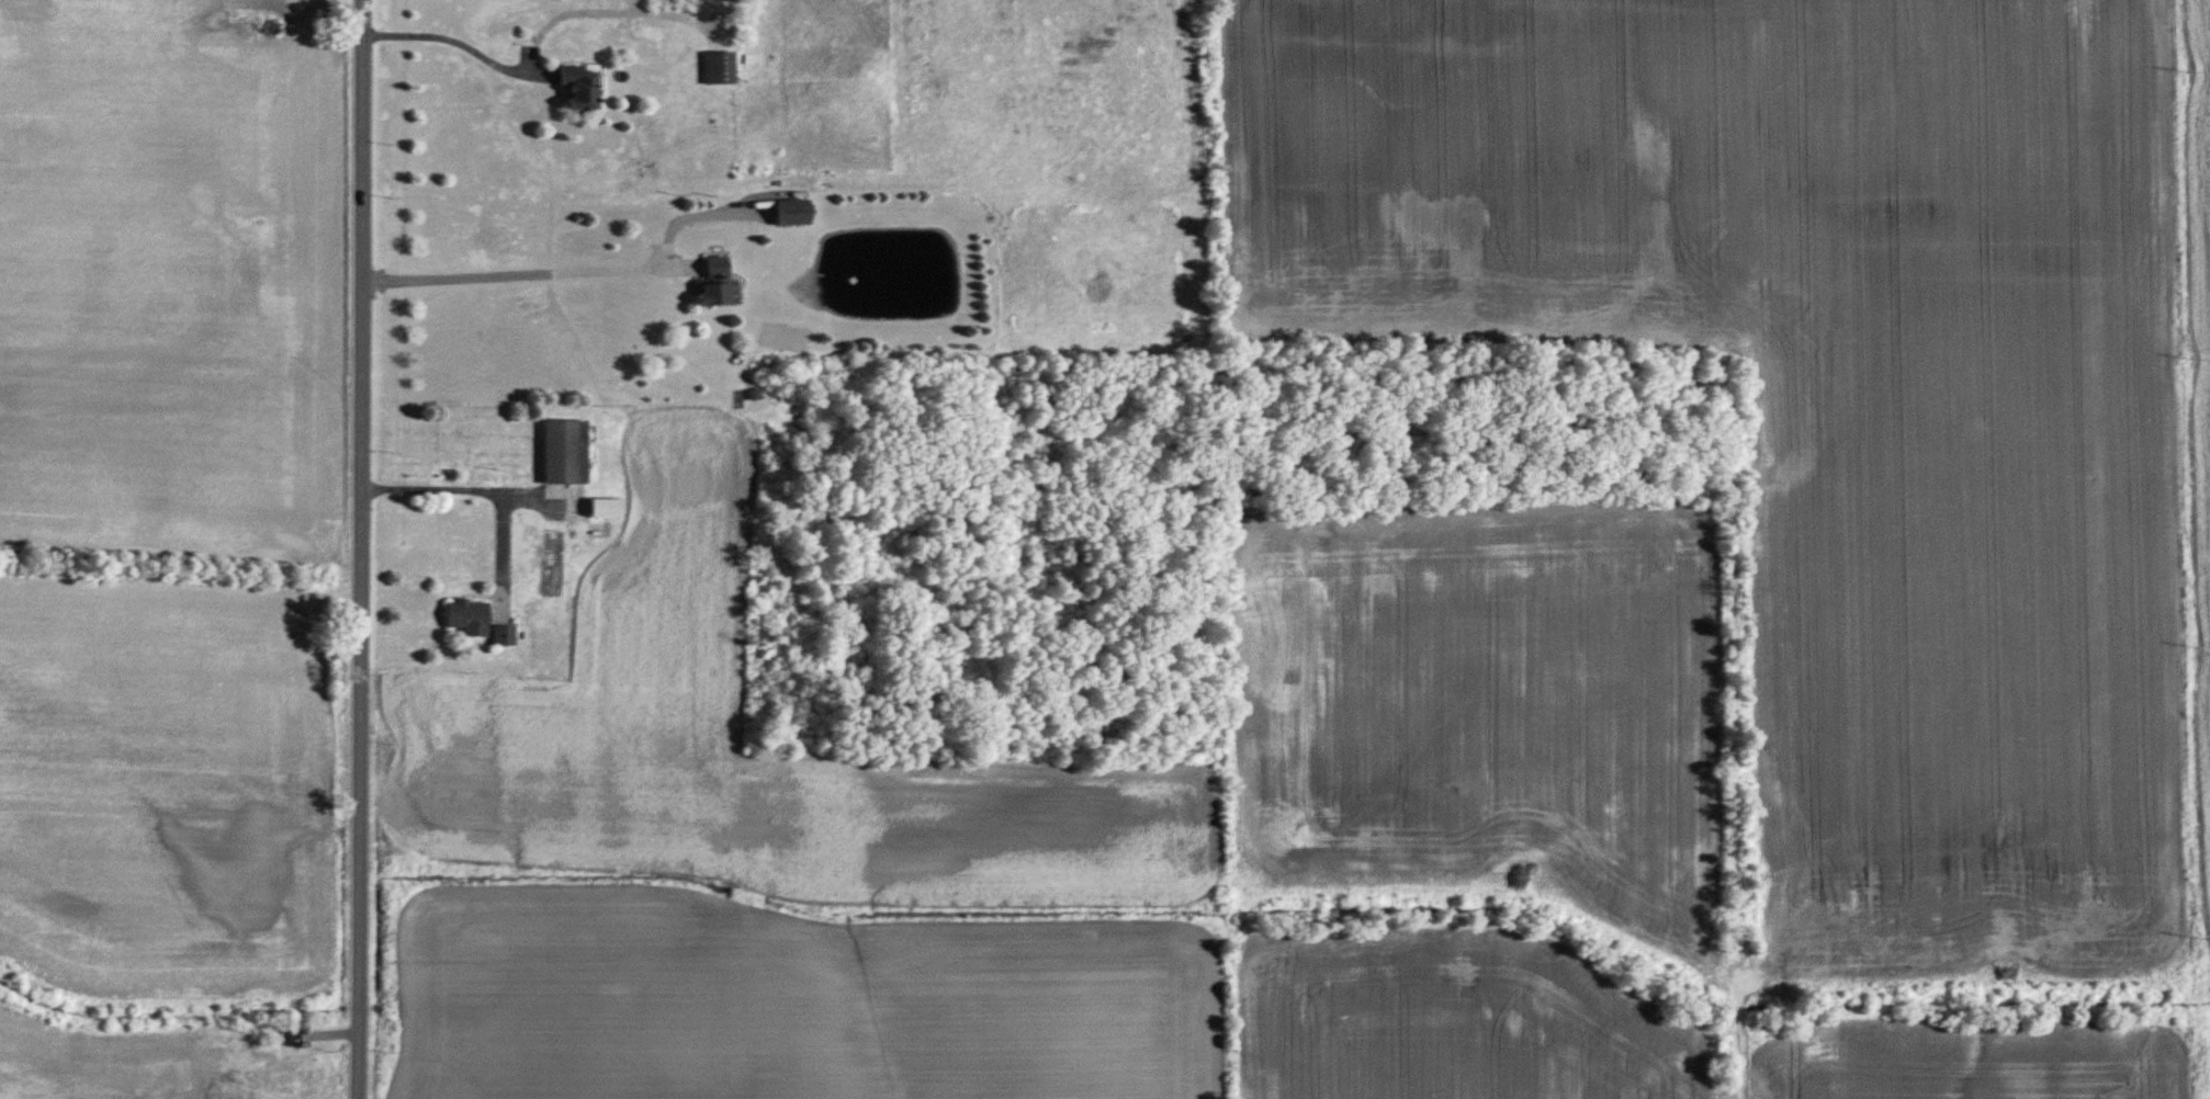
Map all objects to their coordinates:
road: (433, 34)
building: (717, 69)
building: (578, 88)
building: (792, 213)
road: (501, 273)
building: (713, 285)
building: (565, 453)
road: (474, 484)
building: (606, 509)
road: (360, 548)
building: (467, 619)
building: (503, 637)

